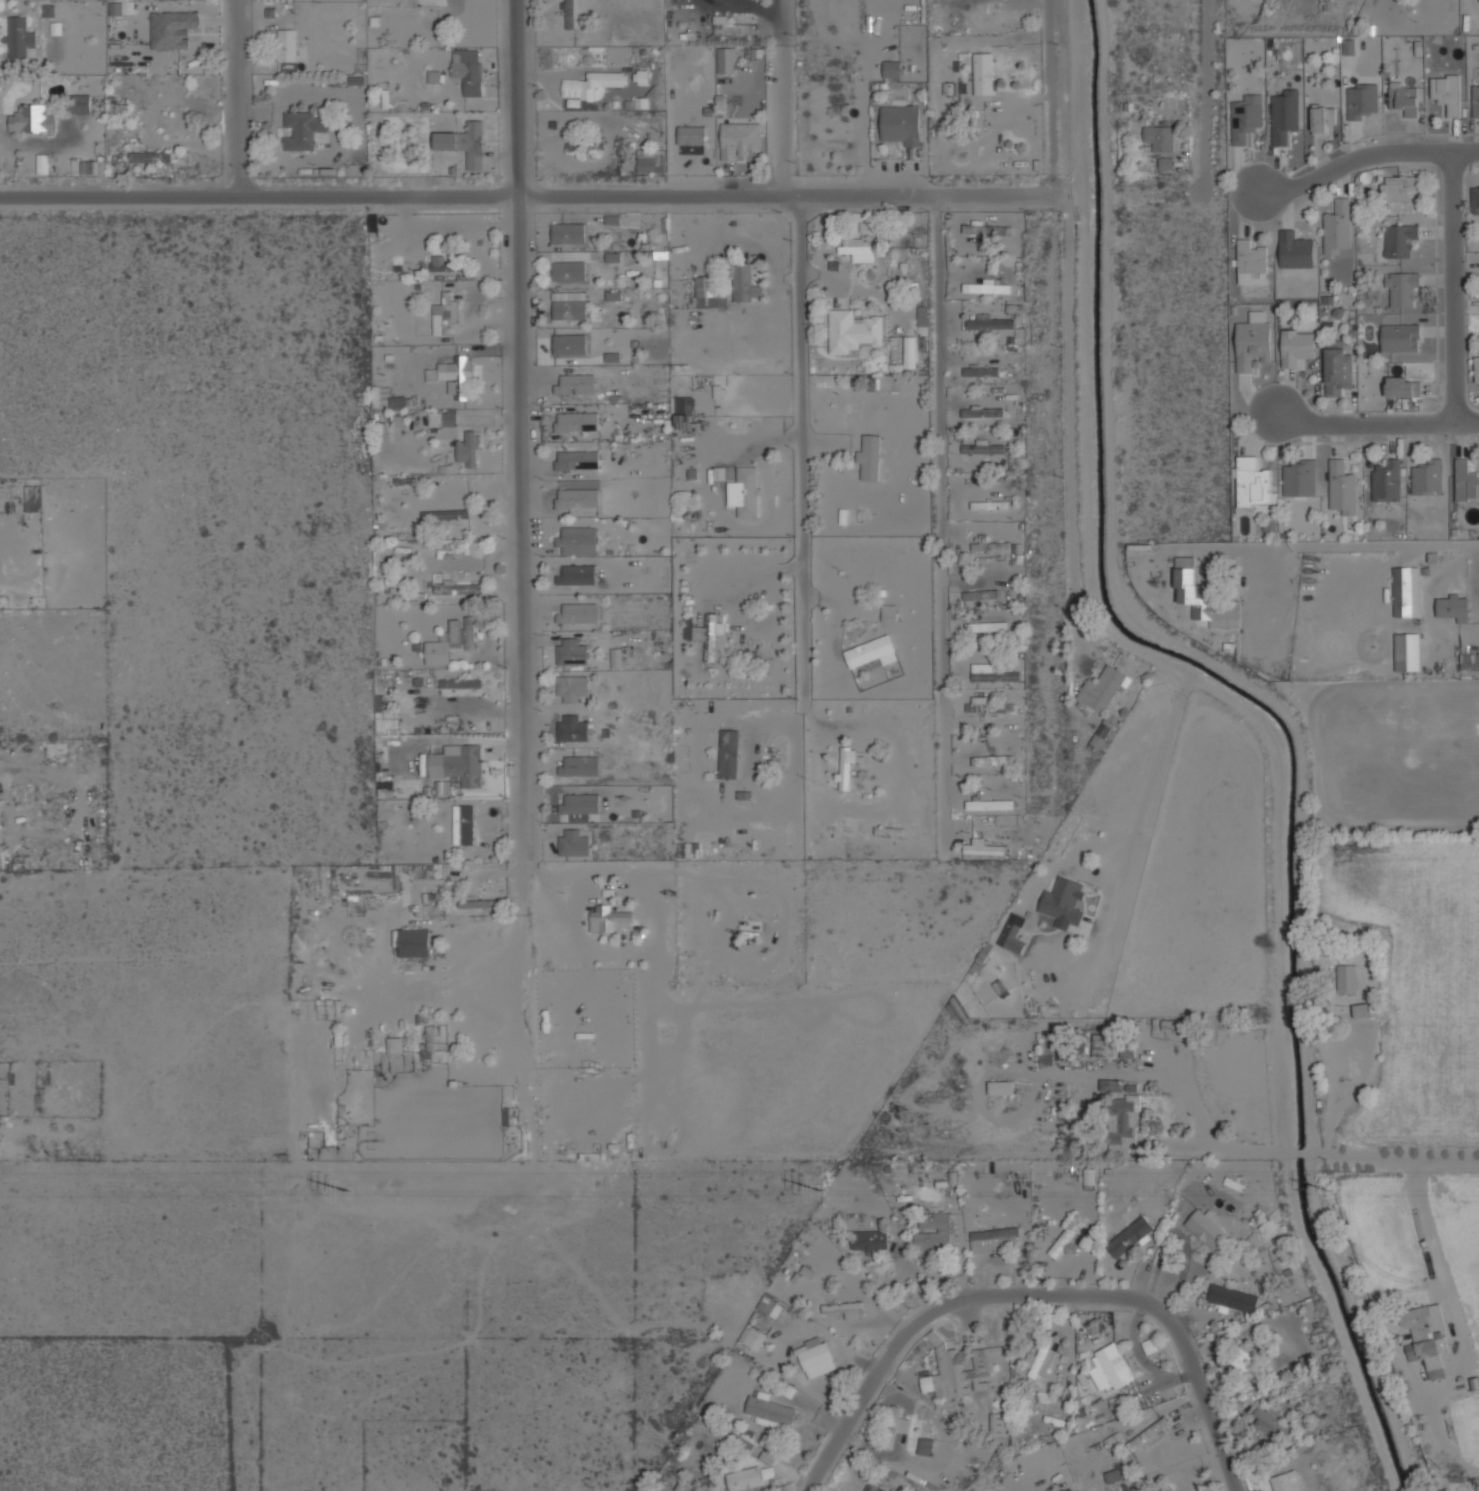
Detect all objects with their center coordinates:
building: (122, 7)
road: (747, 7)
building: (48, 9)
building: (1006, 13)
building: (570, 14)
building: (172, 29)
building: (20, 38)
building: (287, 45)
building: (1349, 46)
building: (891, 69)
building: (467, 70)
building: (983, 74)
building: (433, 76)
building: (591, 85)
building: (1446, 92)
road: (1204, 93)
road: (1050, 95)
road: (781, 97)
road: (235, 98)
building: (1403, 99)
building: (1475, 99)
building: (1361, 100)
building: (79, 103)
building: (1285, 116)
building: (1322, 117)
building: (1246, 118)
building: (31, 119)
building: (900, 124)
building: (302, 130)
building: (1160, 137)
building: (739, 139)
building: (464, 143)
building: (150, 157)
road: (1365, 159)
building: (650, 162)
building: (42, 163)
building: (1166, 163)
building: (92, 167)
road: (533, 193)
building: (1399, 193)
building: (1475, 200)
building: (612, 219)
building: (1338, 227)
building: (568, 233)
building: (1399, 240)
building: (859, 250)
building: (1295, 250)
building: (613, 257)
building: (1251, 259)
building: (441, 264)
building: (568, 271)
building: (744, 283)
building: (986, 287)
road: (1453, 289)
building: (1402, 290)
building: (709, 293)
building: (613, 295)
building: (569, 306)
building: (445, 314)
building: (922, 316)
building: (990, 324)
building: (852, 331)
building: (1400, 338)
building: (569, 344)
building: (1252, 344)
building: (1296, 346)
building: (909, 352)
building: (612, 357)
building: (1338, 370)
building: (1477, 370)
building: (976, 372)
building: (431, 374)
building: (457, 374)
building: (575, 384)
building: (1403, 386)
building: (399, 401)
building: (683, 412)
building: (979, 412)
road: (524, 417)
road: (1070, 419)
building: (577, 422)
road: (1376, 424)
building: (983, 448)
building: (468, 449)
road: (801, 449)
building: (869, 457)
building: (577, 460)
building: (1299, 478)
building: (1428, 479)
building: (1386, 482)
building: (1465, 482)
building: (1252, 483)
building: (1342, 487)
building: (744, 492)
building: (32, 495)
building: (577, 498)
building: (445, 514)
road: (939, 521)
building: (577, 541)
building: (983, 543)
road: (1330, 545)
building: (999, 546)
building: (577, 575)
building: (457, 588)
building: (1192, 589)
building: (1403, 590)
building: (976, 595)
building: (1453, 605)
building: (578, 613)
building: (889, 613)
building: (985, 626)
building: (463, 632)
building: (702, 634)
building: (437, 652)
building: (571, 652)
building: (871, 652)
building: (1406, 652)
building: (616, 658)
building: (1469, 661)
building: (991, 674)
building: (461, 687)
building: (572, 687)
building: (1103, 688)
building: (988, 706)
building: (572, 729)
building: (1104, 729)
building: (728, 754)
building: (459, 765)
building: (579, 766)
building: (844, 769)
building: (442, 788)
building: (389, 790)
building: (580, 804)
building: (989, 805)
building: (463, 824)
building: (573, 843)
building: (977, 849)
building: (1064, 901)
building: (478, 904)
building: (607, 918)
building: (1012, 934)
building: (414, 943)
building: (983, 957)
building: (1347, 979)
crop: (1414, 982)
building: (395, 1045)
building: (1104, 1050)
building: (430, 1052)
building: (1001, 1088)
building: (1122, 1122)
building: (1089, 1176)
power tower: (823, 1191)
power tower: (1332, 1191)
power tower: (351, 1193)
road: (1425, 1224)
building: (1207, 1229)
building: (933, 1231)
building: (1066, 1236)
building: (990, 1238)
building: (1129, 1239)
building: (869, 1240)
road: (1039, 1295)
building: (1233, 1299)
building: (770, 1306)
building: (845, 1309)
building: (1423, 1333)
building: (752, 1337)
building: (1042, 1359)
building: (1245, 1359)
building: (816, 1360)
building: (1306, 1360)
building: (948, 1366)
building: (1110, 1368)
building: (770, 1411)
building: (897, 1420)
building: (1271, 1423)
building: (998, 1424)
building: (1148, 1433)
building: (1114, 1441)
building: (925, 1446)
building: (767, 1472)
building: (1113, 1475)
building: (744, 1479)
building: (1285, 1482)
building: (874, 1487)
building: (1168, 1487)

